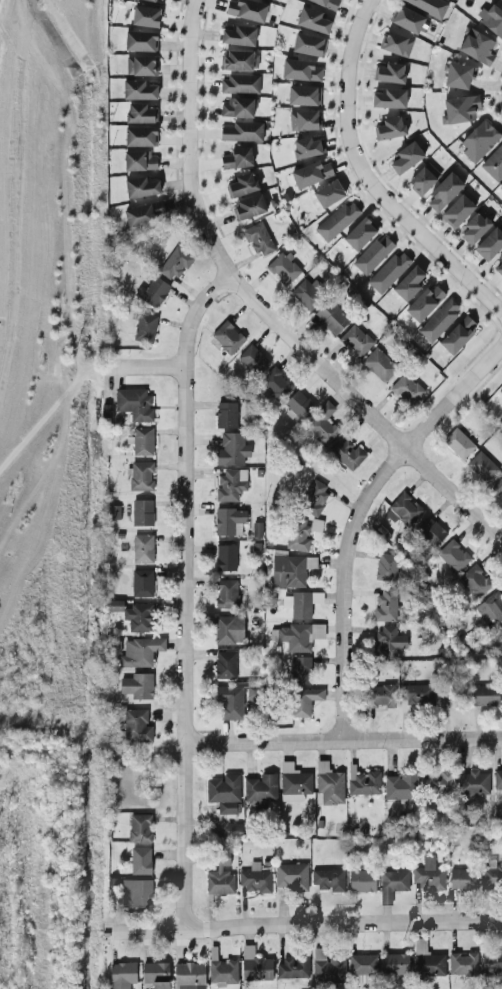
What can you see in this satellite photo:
building: (159, 0)
building: (501, 0)
building: (325, 3)
building: (429, 6)
building: (247, 10)
building: (145, 17)
building: (407, 19)
building: (492, 19)
building: (313, 21)
building: (239, 36)
building: (141, 42)
building: (396, 44)
building: (309, 45)
building: (477, 47)
building: (239, 61)
building: (141, 66)
building: (301, 71)
building: (390, 73)
building: (459, 76)
building: (240, 84)
building: (140, 90)
building: (304, 96)
building: (389, 99)
road: (190, 107)
building: (239, 108)
building: (460, 110)
building: (142, 113)
building: (304, 121)
building: (391, 128)
building: (243, 132)
building: (141, 137)
building: (479, 141)
building: (308, 147)
building: (407, 158)
building: (238, 159)
building: (140, 161)
building: (494, 164)
building: (311, 174)
road: (370, 178)
building: (423, 179)
building: (242, 185)
building: (142, 187)
building: (501, 188)
building: (444, 192)
building: (329, 194)
building: (248, 208)
building: (457, 212)
building: (144, 215)
building: (337, 221)
building: (475, 228)
building: (359, 235)
building: (258, 239)
building: (491, 243)
building: (373, 254)
building: (176, 263)
building: (499, 266)
building: (283, 269)
building: (389, 273)
building: (409, 284)
building: (153, 292)
building: (308, 293)
building: (425, 303)
building: (331, 317)
building: (439, 320)
building: (145, 328)
building: (458, 335)
building: (228, 337)
building: (356, 341)
building: (253, 360)
building: (380, 365)
road: (150, 366)
building: (275, 384)
road: (343, 384)
building: (406, 390)
building: (500, 391)
building: (134, 404)
building: (299, 404)
building: (226, 415)
building: (322, 425)
building: (143, 442)
building: (458, 444)
building: (232, 450)
building: (347, 453)
building: (482, 467)
building: (141, 476)
building: (230, 485)
building: (497, 488)
building: (315, 498)
building: (405, 509)
building: (115, 513)
building: (142, 513)
road: (358, 515)
building: (229, 521)
building: (431, 532)
building: (299, 535)
building: (143, 549)
building: (453, 556)
building: (226, 558)
building: (386, 567)
building: (290, 570)
building: (474, 582)
building: (142, 584)
road: (186, 594)
building: (227, 594)
building: (301, 604)
building: (386, 606)
building: (491, 608)
building: (134, 615)
building: (501, 628)
building: (229, 630)
building: (300, 636)
building: (389, 642)
building: (140, 652)
building: (225, 665)
building: (301, 670)
building: (137, 686)
building: (254, 695)
building: (417, 695)
building: (380, 696)
building: (485, 696)
building: (305, 701)
building: (230, 702)
building: (136, 726)
road: (343, 738)
building: (498, 779)
building: (438, 782)
building: (294, 783)
building: (364, 783)
building: (473, 784)
building: (329, 785)
building: (401, 787)
building: (261, 789)
building: (224, 793)
building: (140, 828)
building: (234, 831)
building: (141, 861)
building: (428, 875)
building: (221, 876)
building: (489, 876)
building: (291, 877)
building: (255, 879)
building: (463, 879)
building: (329, 880)
building: (362, 881)
building: (392, 885)
building: (136, 893)
road: (304, 923)
building: (427, 961)
building: (492, 961)
building: (363, 964)
building: (395, 964)
building: (463, 964)
building: (255, 966)
building: (328, 967)
building: (292, 968)
building: (223, 972)
building: (122, 975)
building: (156, 975)
building: (190, 976)

